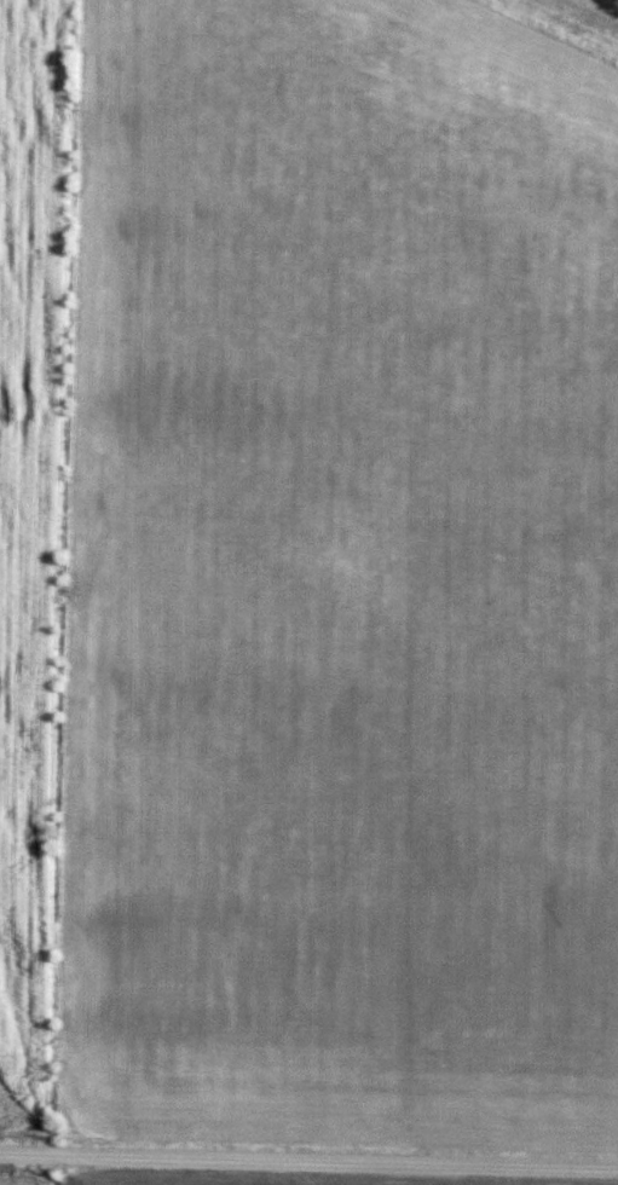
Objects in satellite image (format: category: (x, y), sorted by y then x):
road: (308, 1162)

